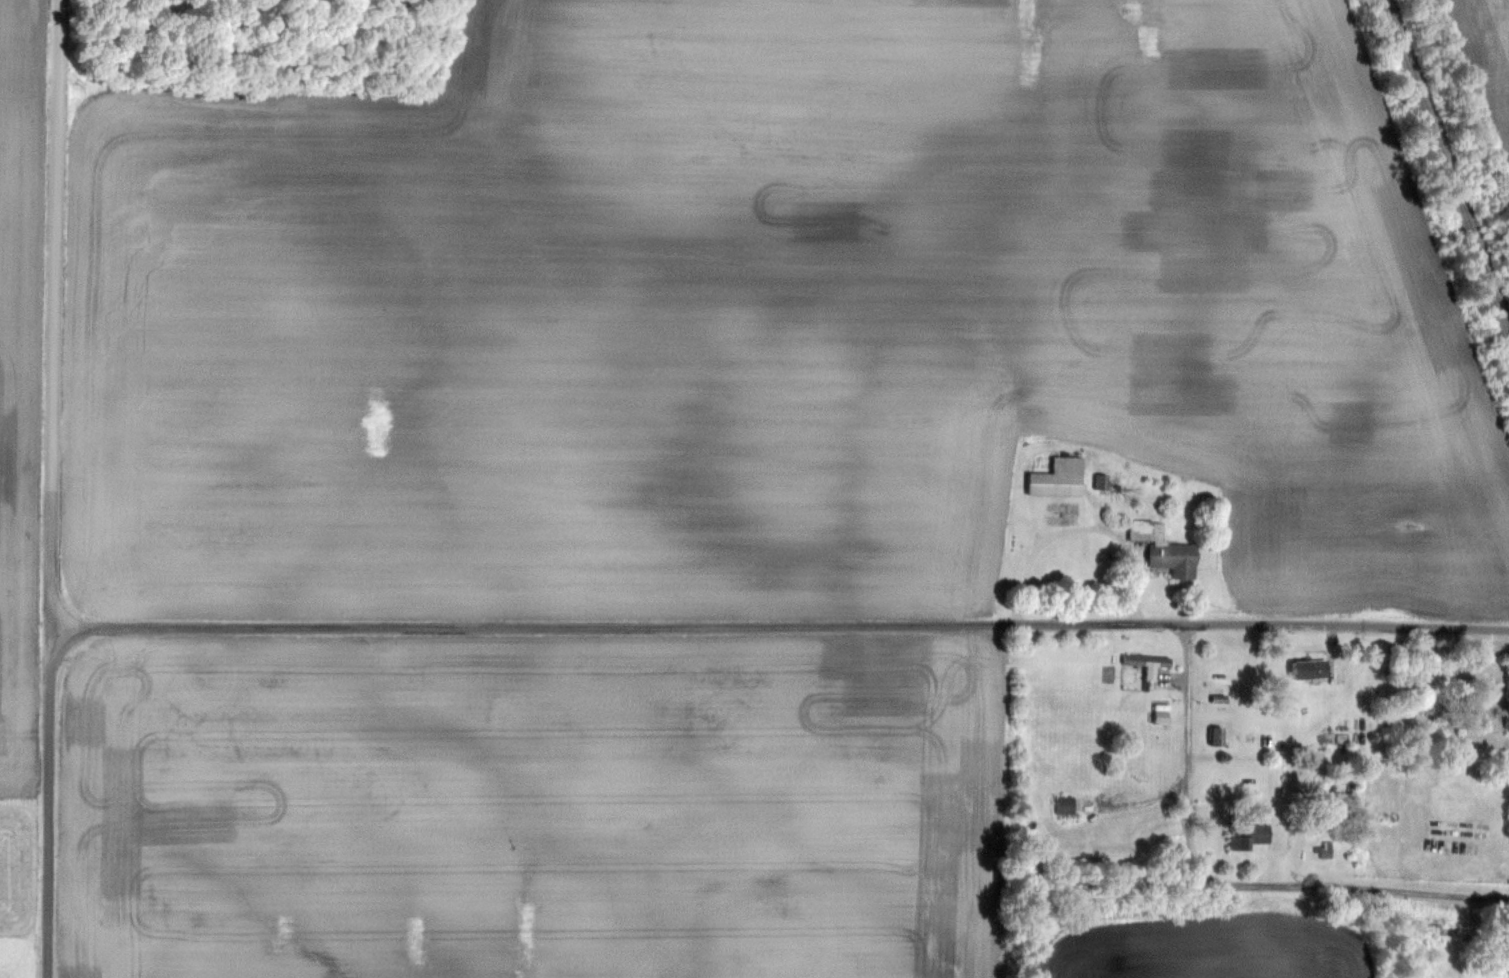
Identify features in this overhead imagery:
railway: (1441, 177)
building: (1060, 480)
road: (53, 488)
road: (1085, 528)
building: (1167, 551)
road: (781, 630)
building: (1145, 661)
building: (1312, 669)
building: (1164, 717)
building: (1508, 720)
building: (1218, 735)
road: (1189, 751)
building: (1067, 805)
building: (1252, 835)
road: (1353, 888)

